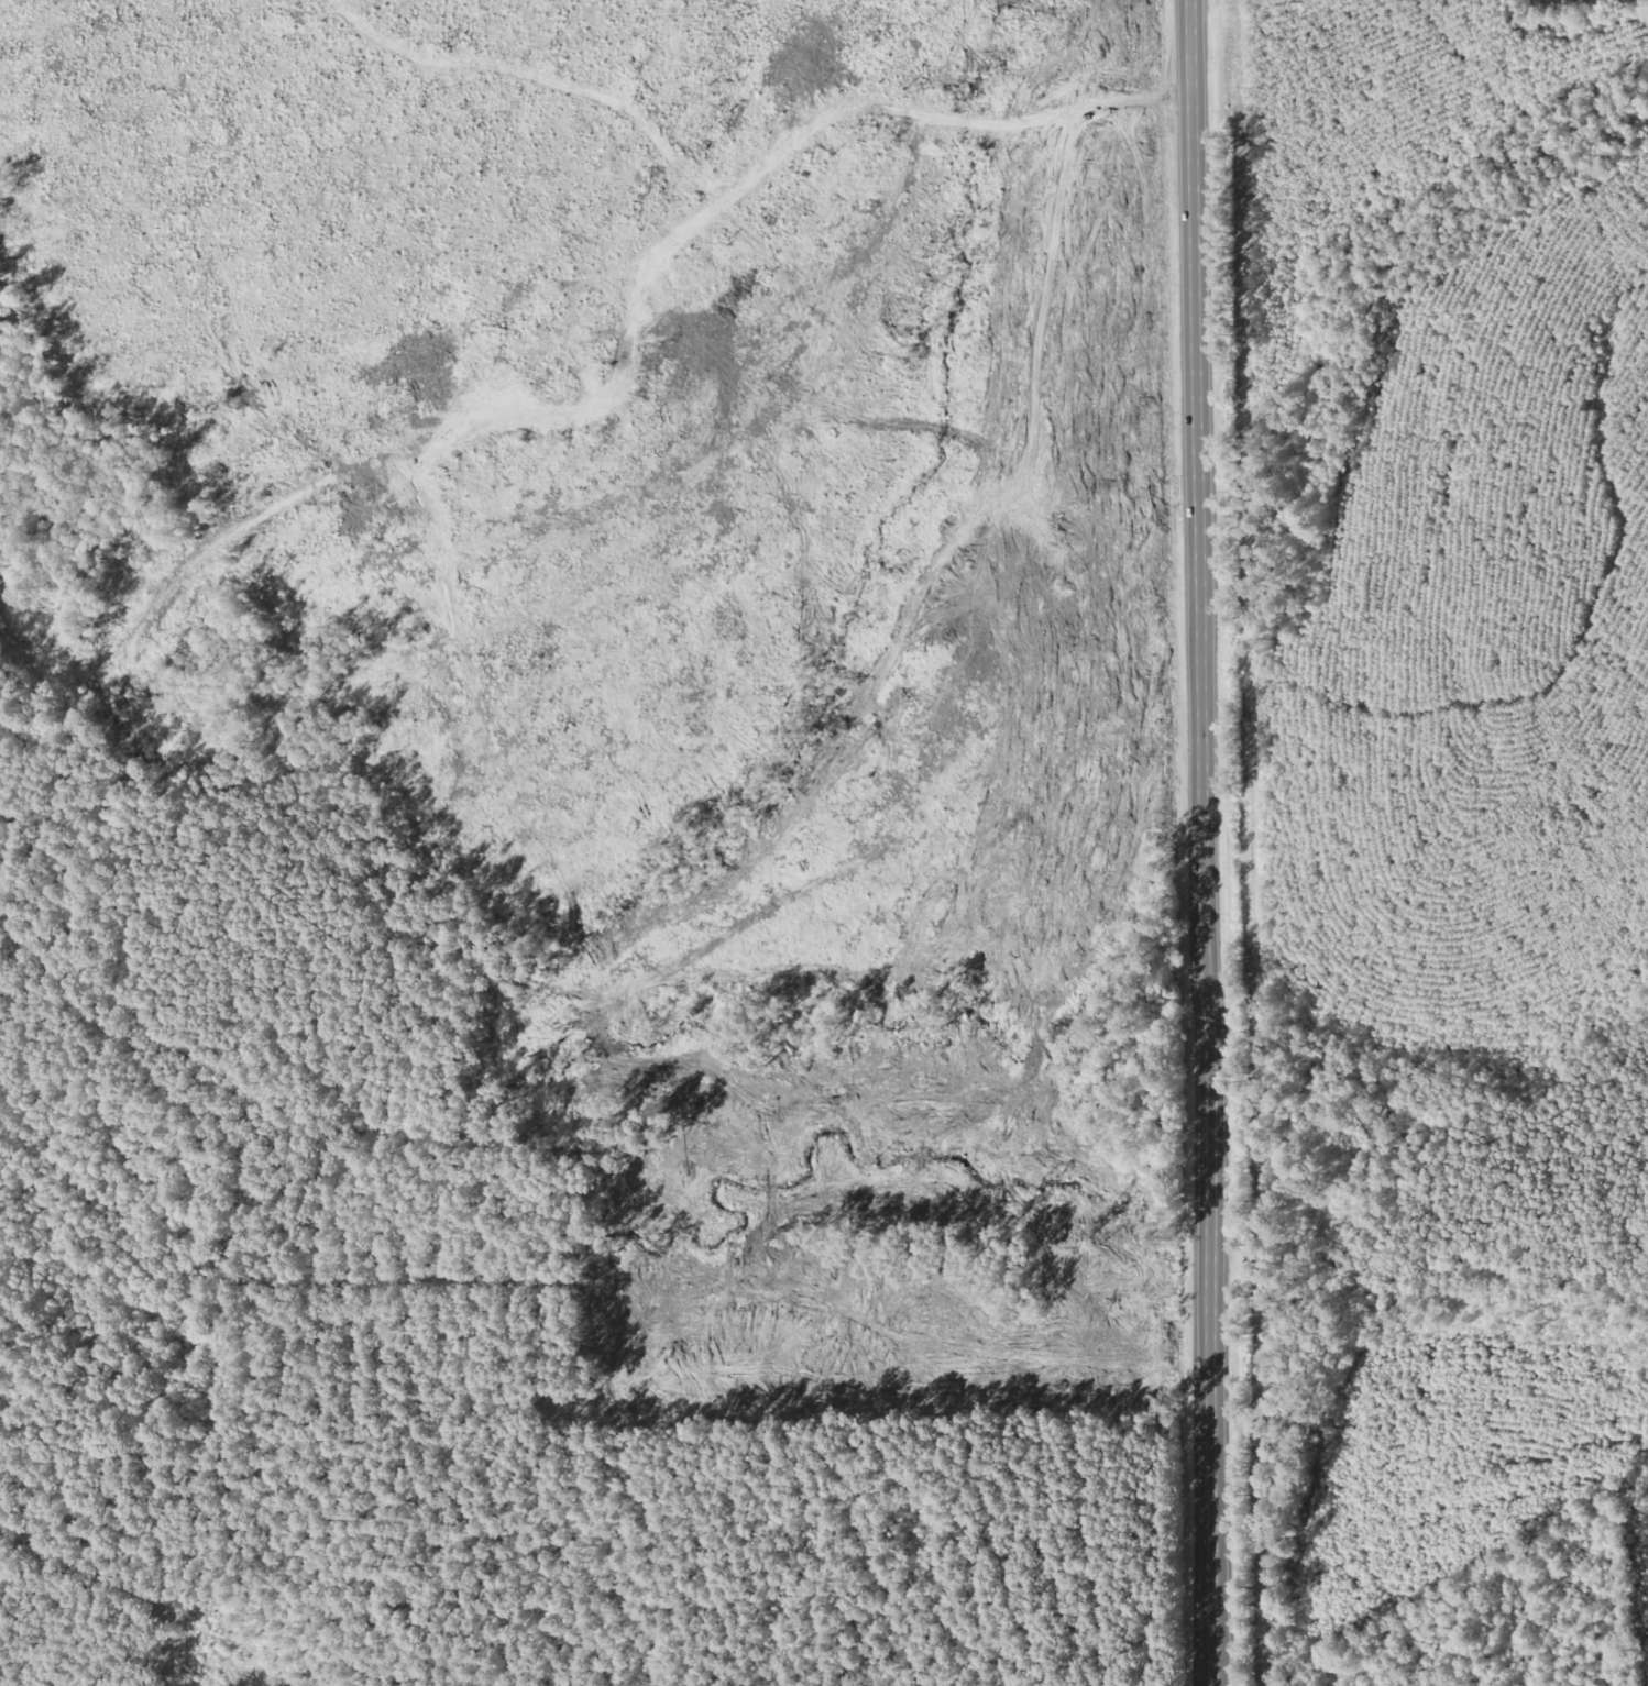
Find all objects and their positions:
road: (1202, 842)

